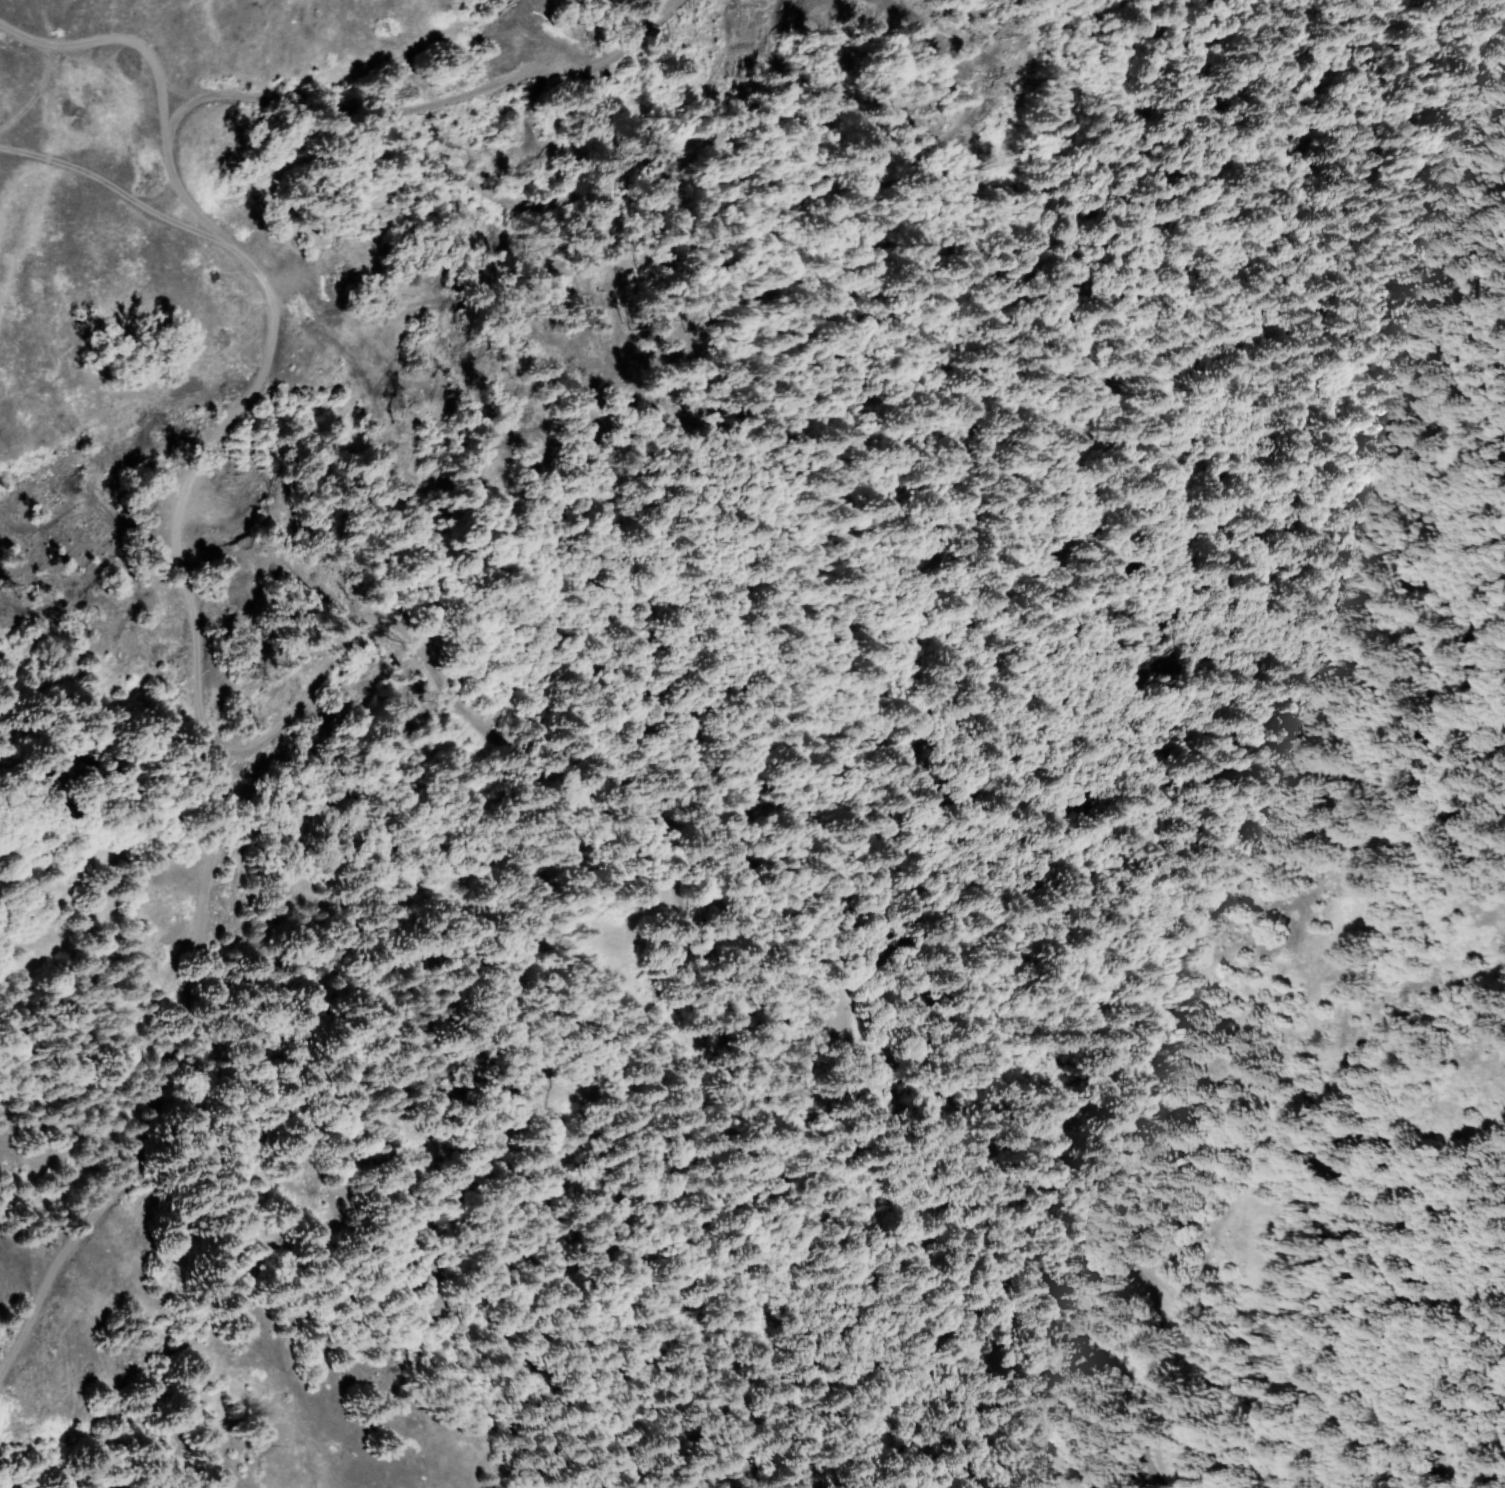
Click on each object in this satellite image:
road: (383, 118)
road: (513, 819)

